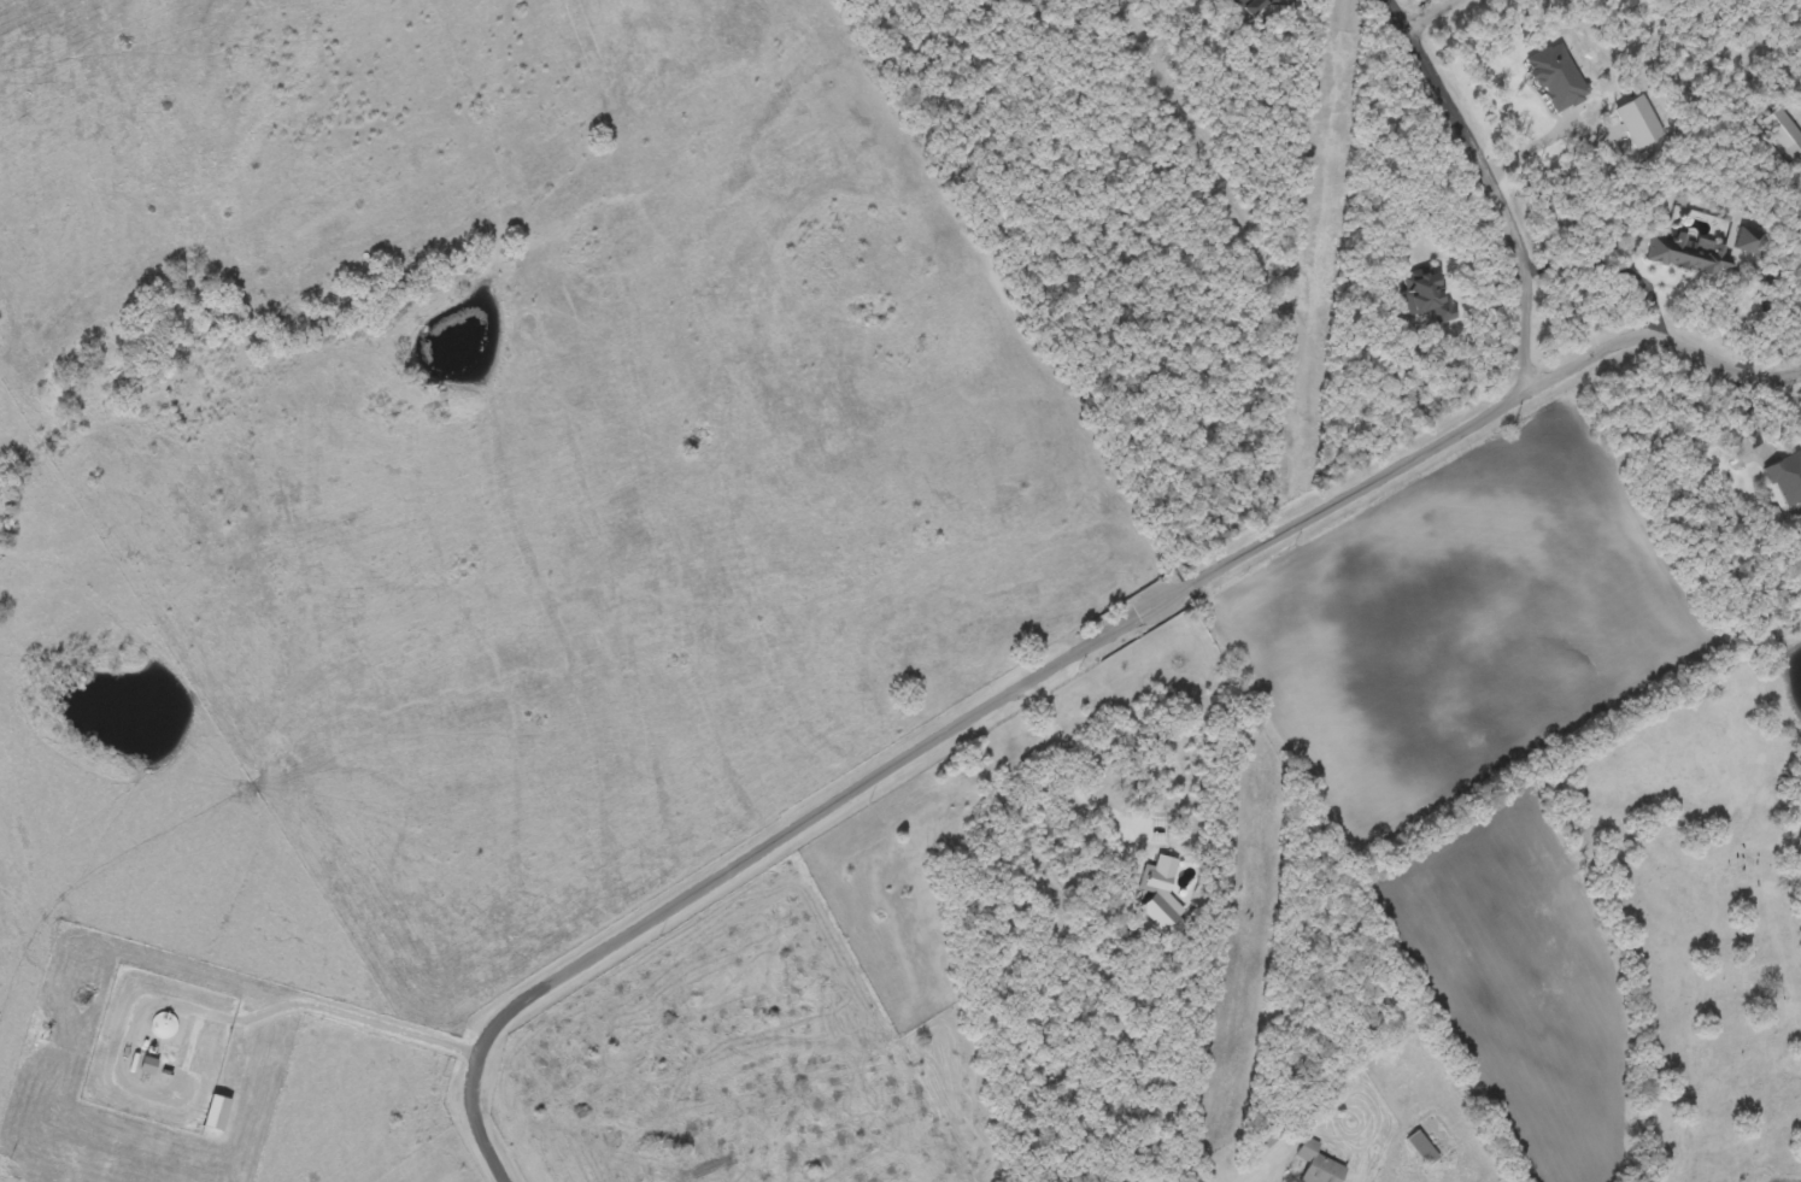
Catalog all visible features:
building: (1262, 4)
road: (1435, 14)
building: (1557, 77)
building: (1639, 122)
building: (1785, 134)
road: (1498, 182)
building: (1748, 240)
building: (1690, 254)
building: (1429, 299)
building: (1788, 478)
road: (1051, 663)
building: (1161, 894)
building: (149, 1066)
building: (217, 1115)
building: (1268, 1139)
building: (1424, 1149)
building: (1320, 1165)

